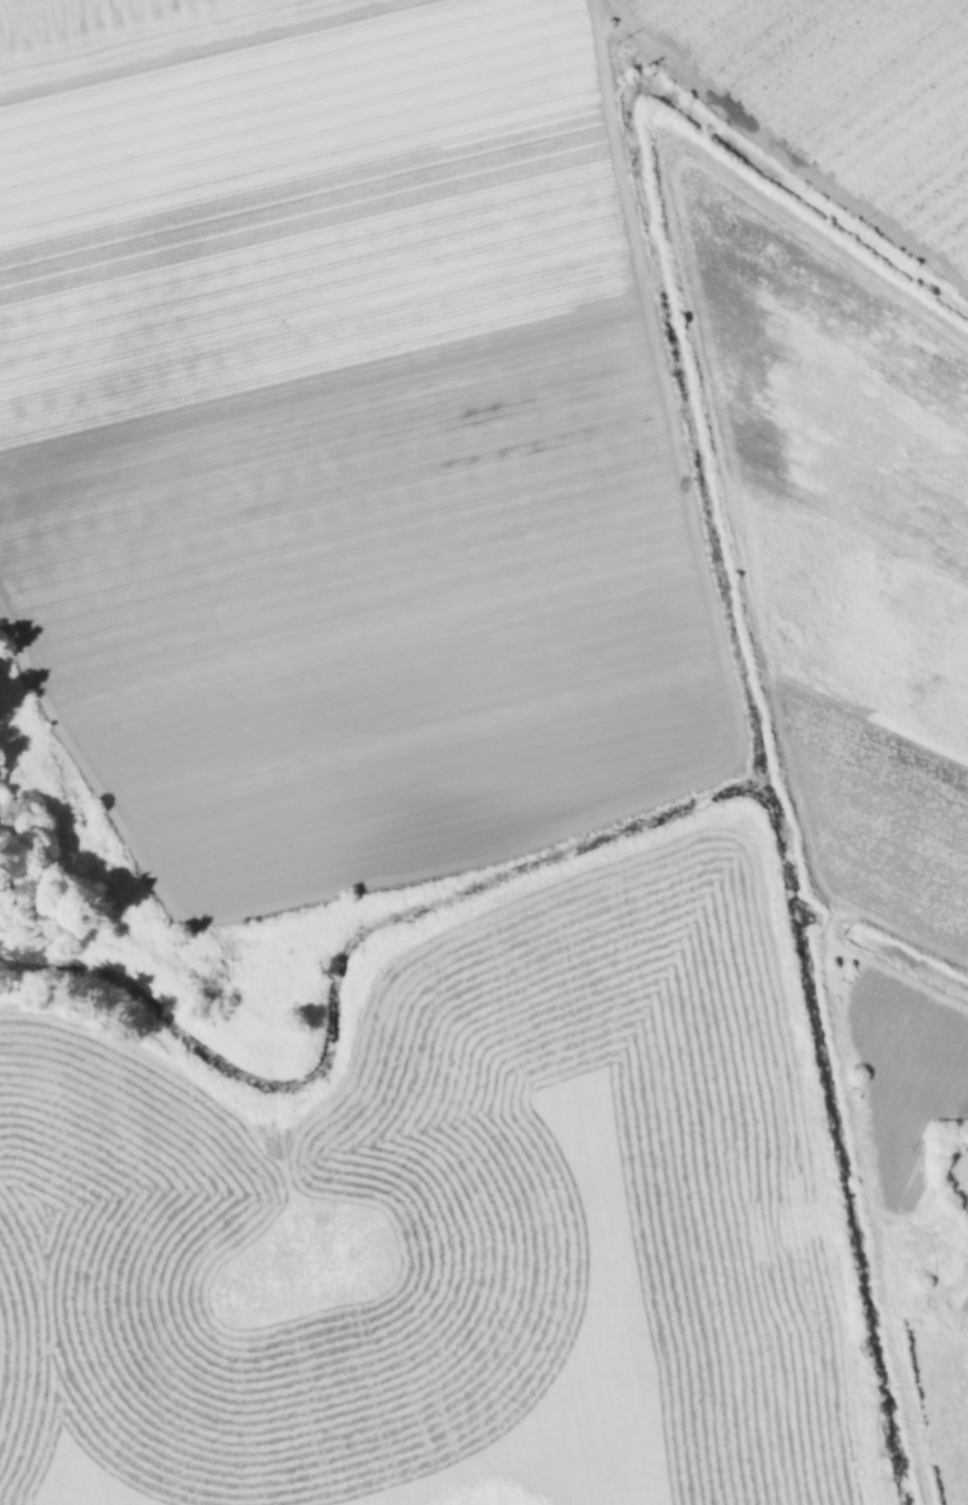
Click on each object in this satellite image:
road: (664, 381)
crop: (840, 404)
crop: (331, 436)
crop: (452, 1230)

